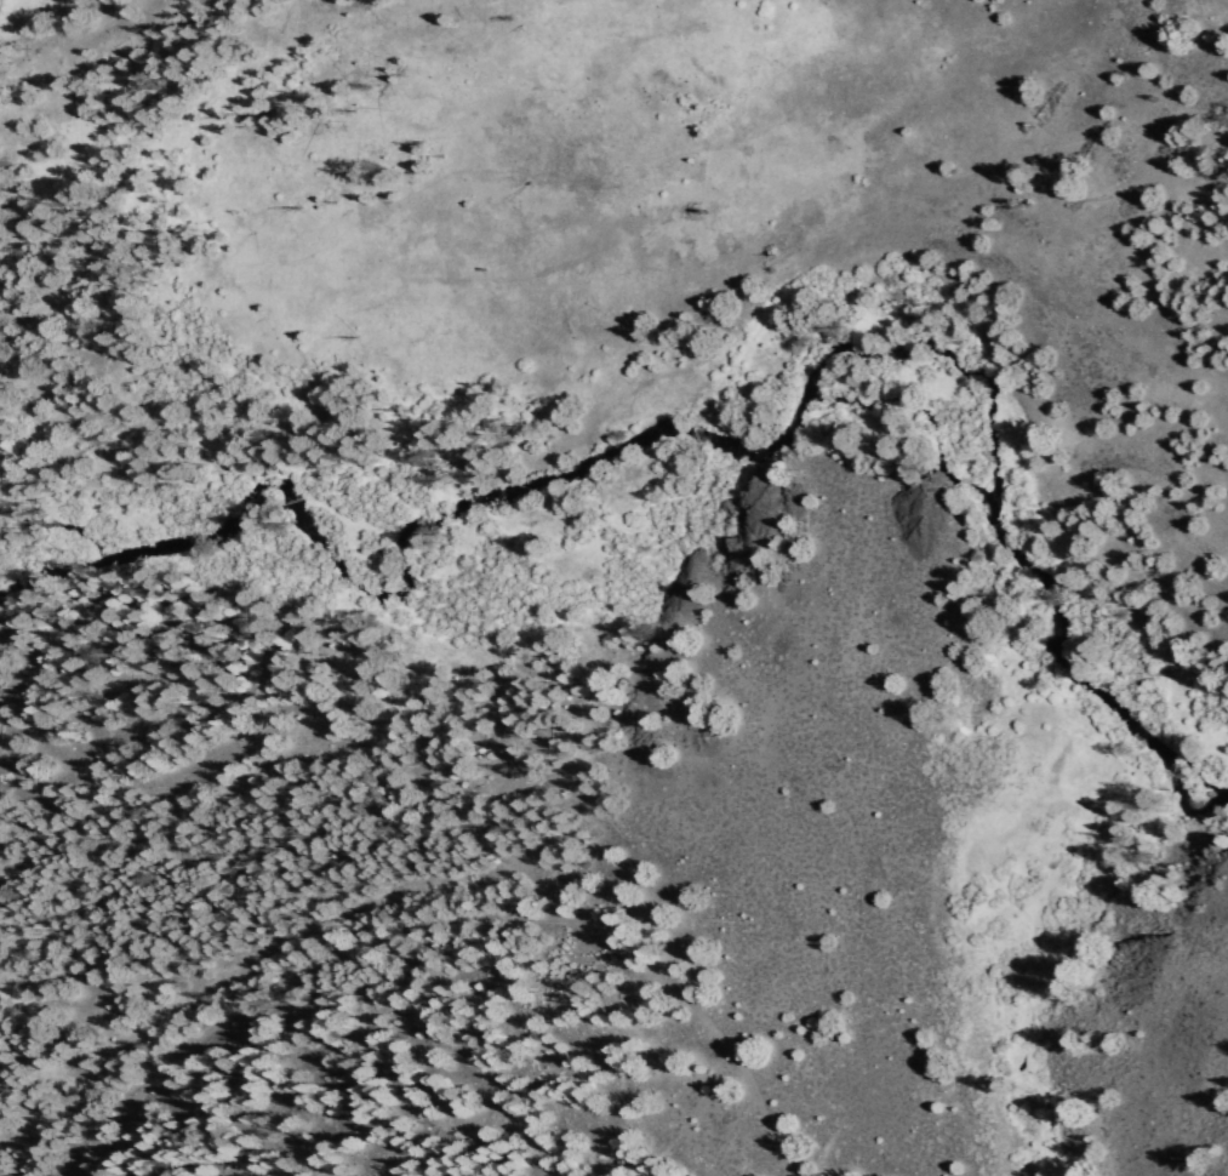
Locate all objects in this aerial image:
road: (438, 925)

